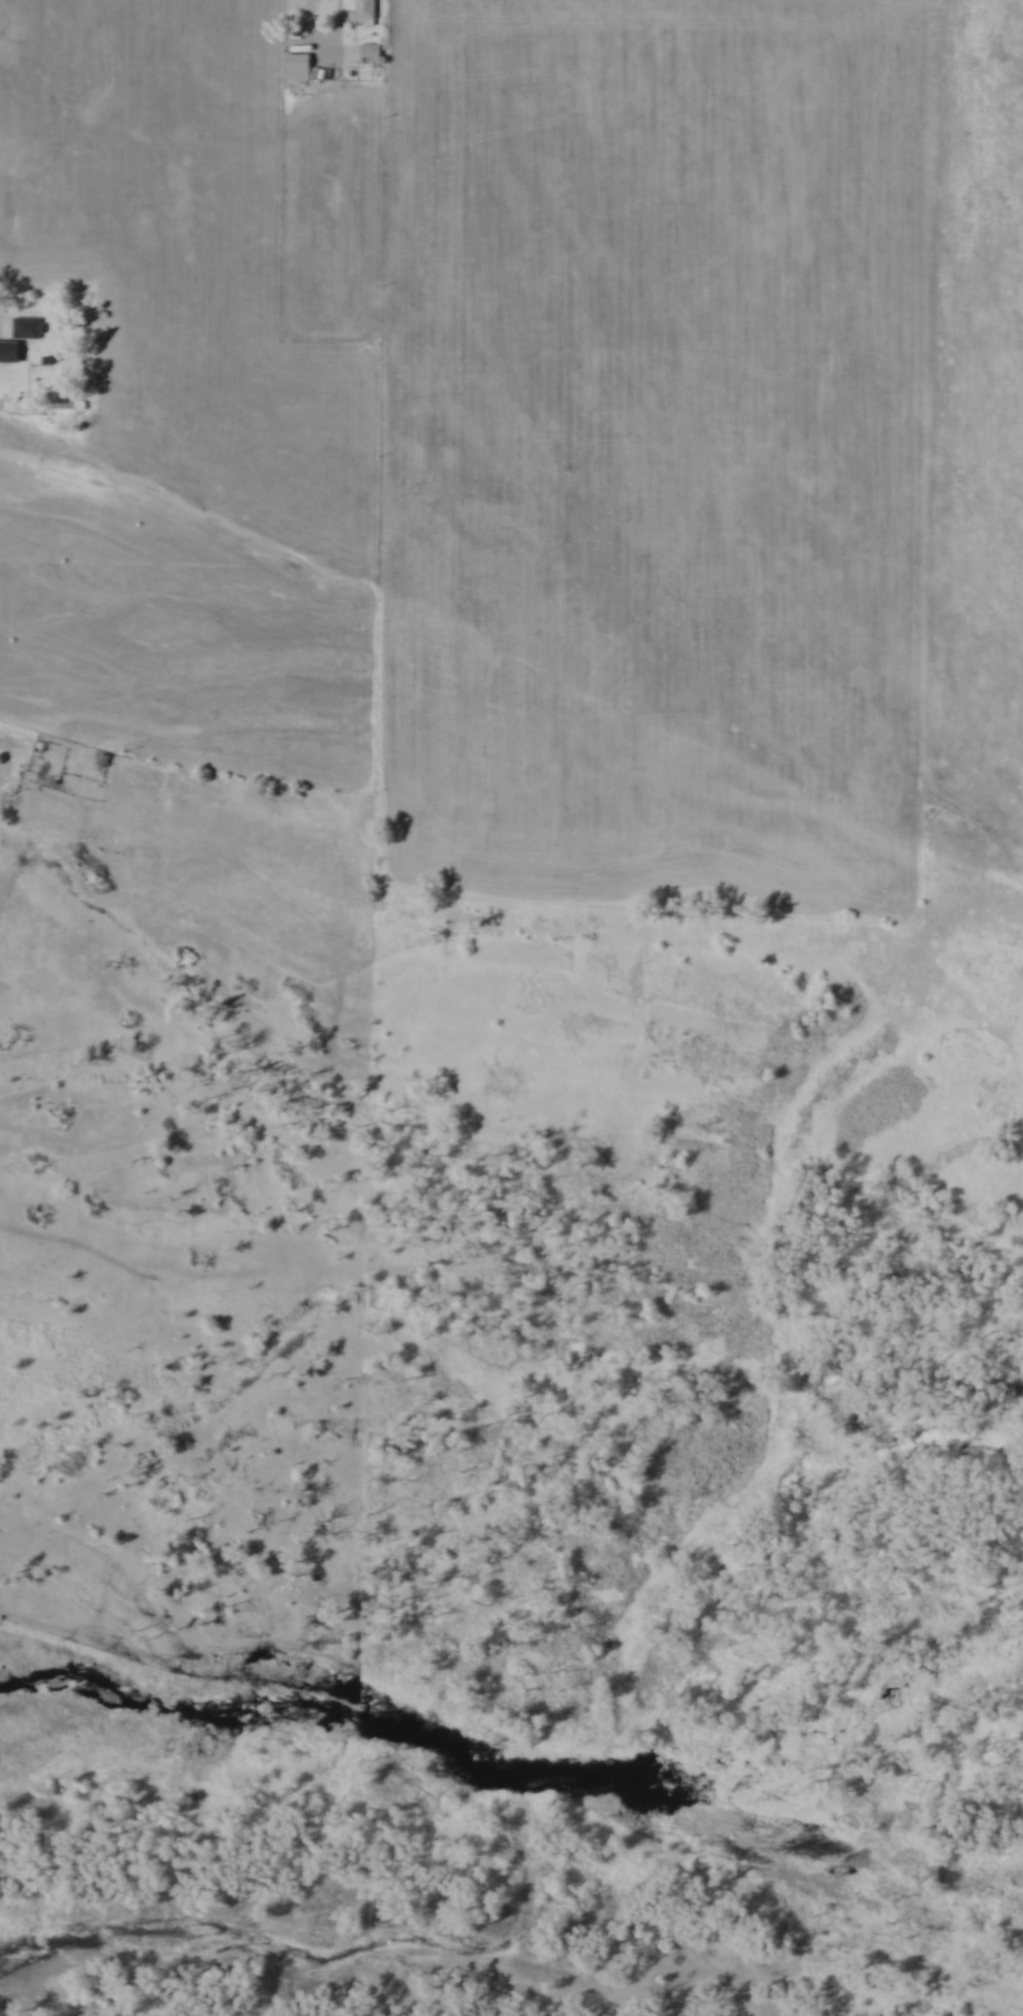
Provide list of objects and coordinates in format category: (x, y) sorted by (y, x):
building: (366, 13)
road: (339, 24)
building: (372, 52)
building: (299, 69)
building: (20, 342)

